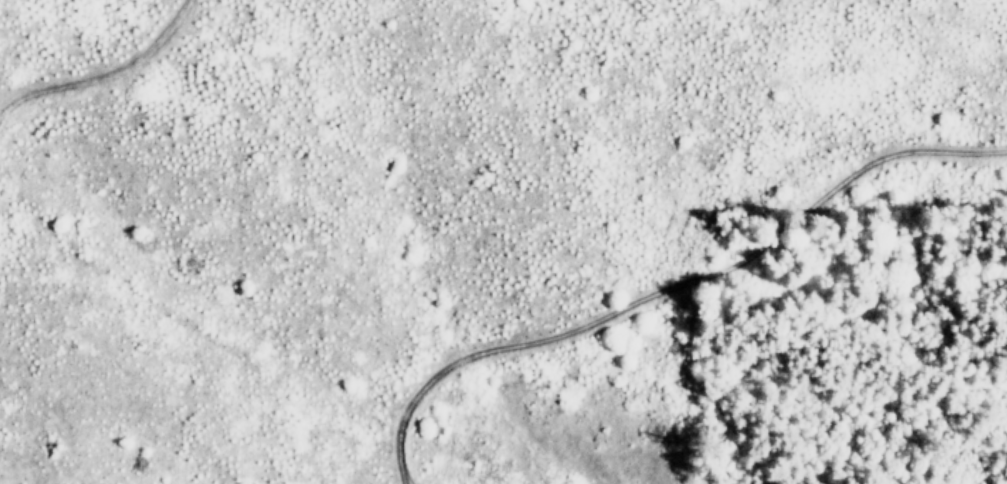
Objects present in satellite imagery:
road: (679, 284)

